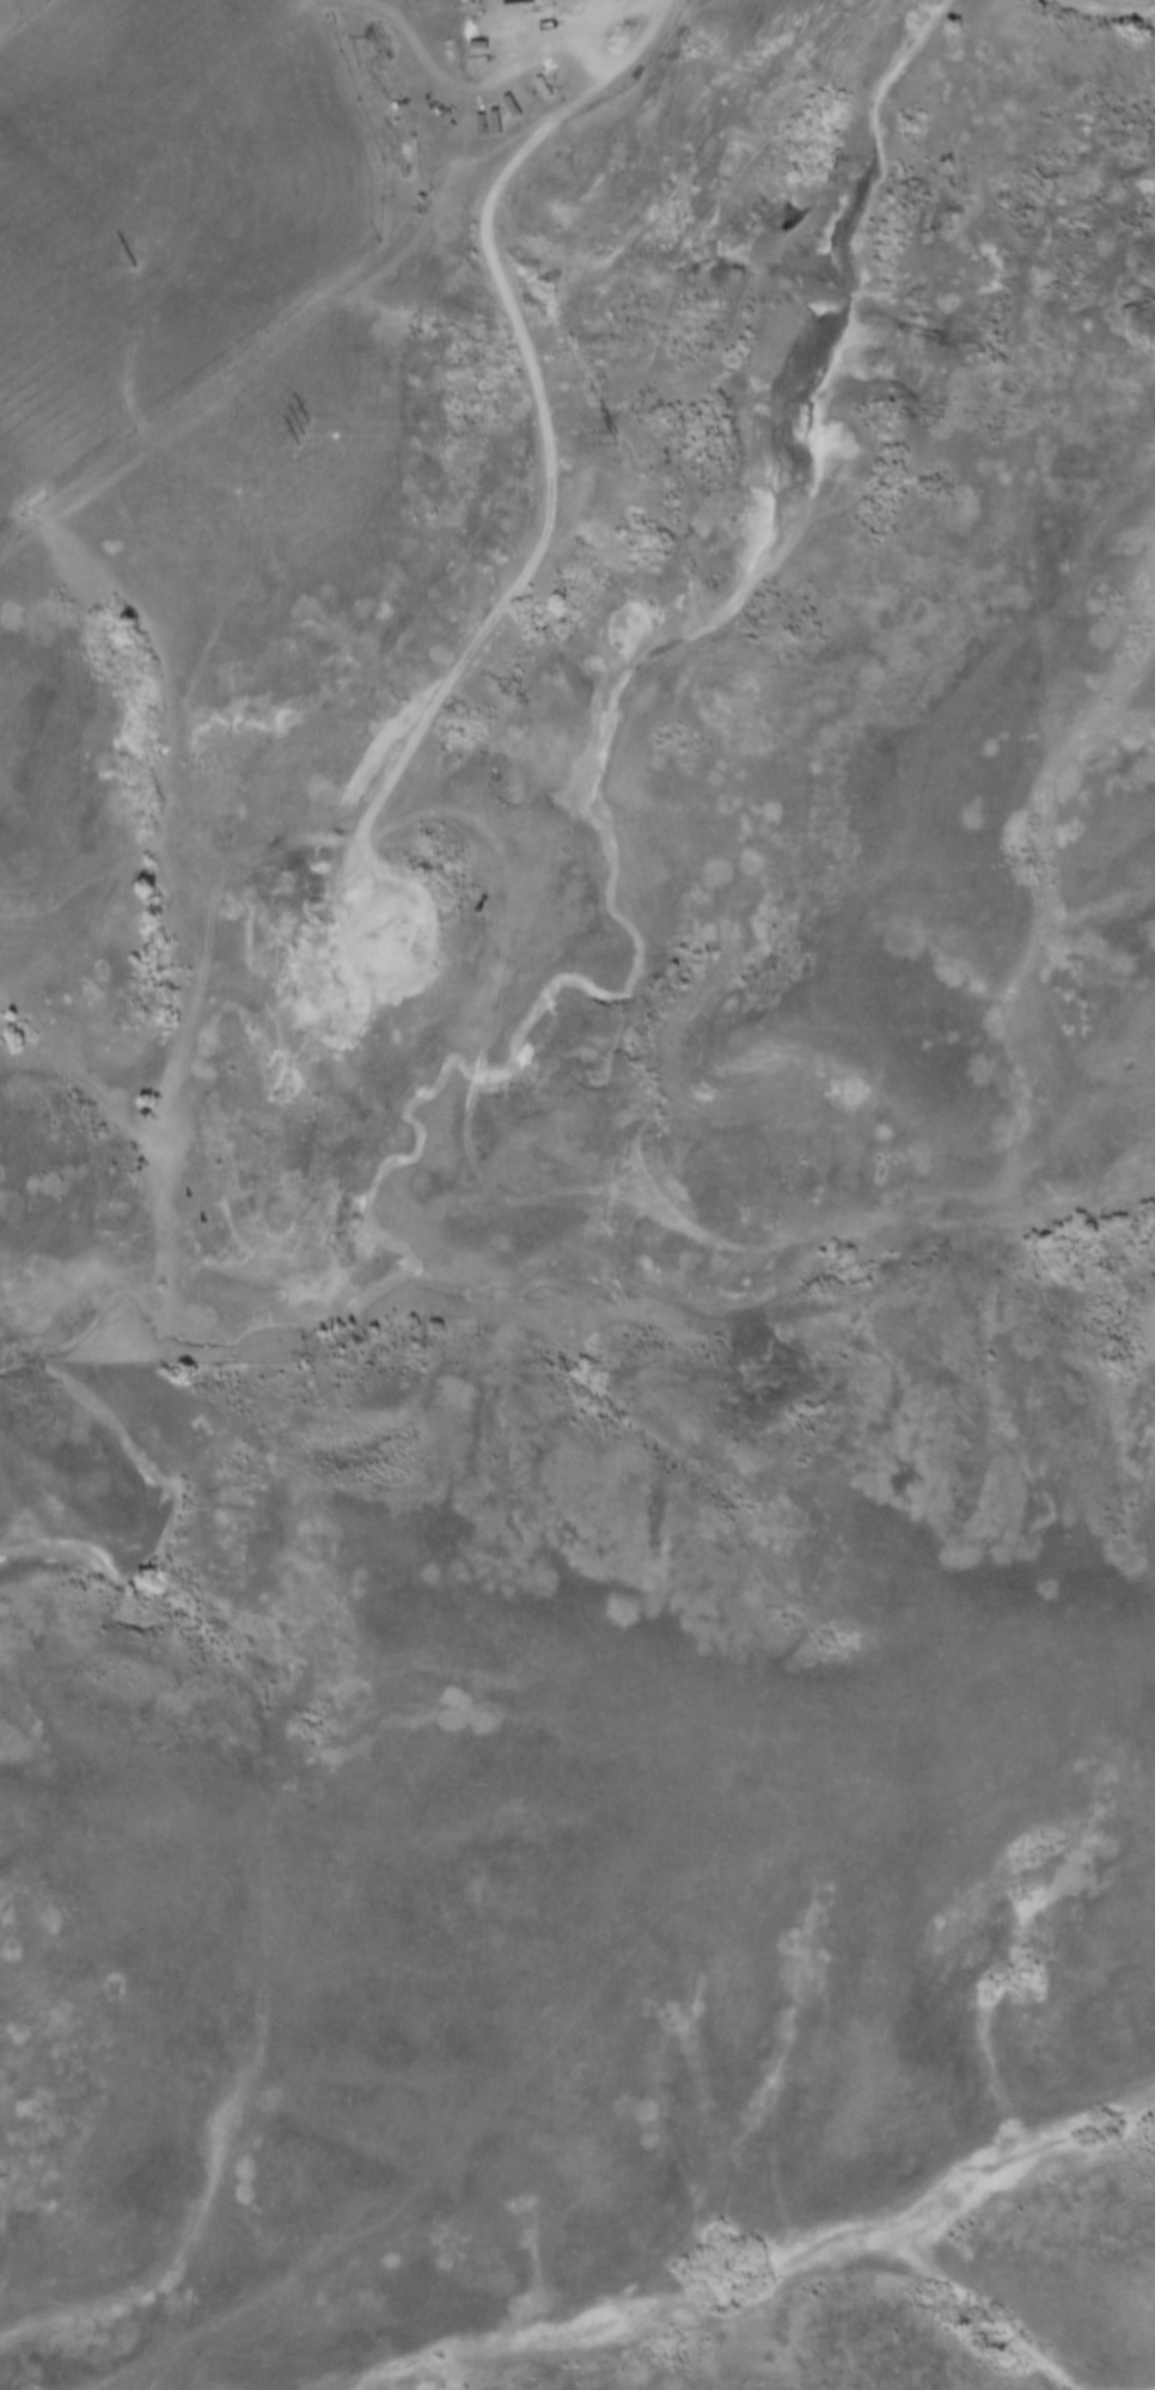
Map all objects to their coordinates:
road: (389, 11)
road: (525, 75)
road: (538, 401)
power tower: (306, 433)
power tower: (617, 438)

